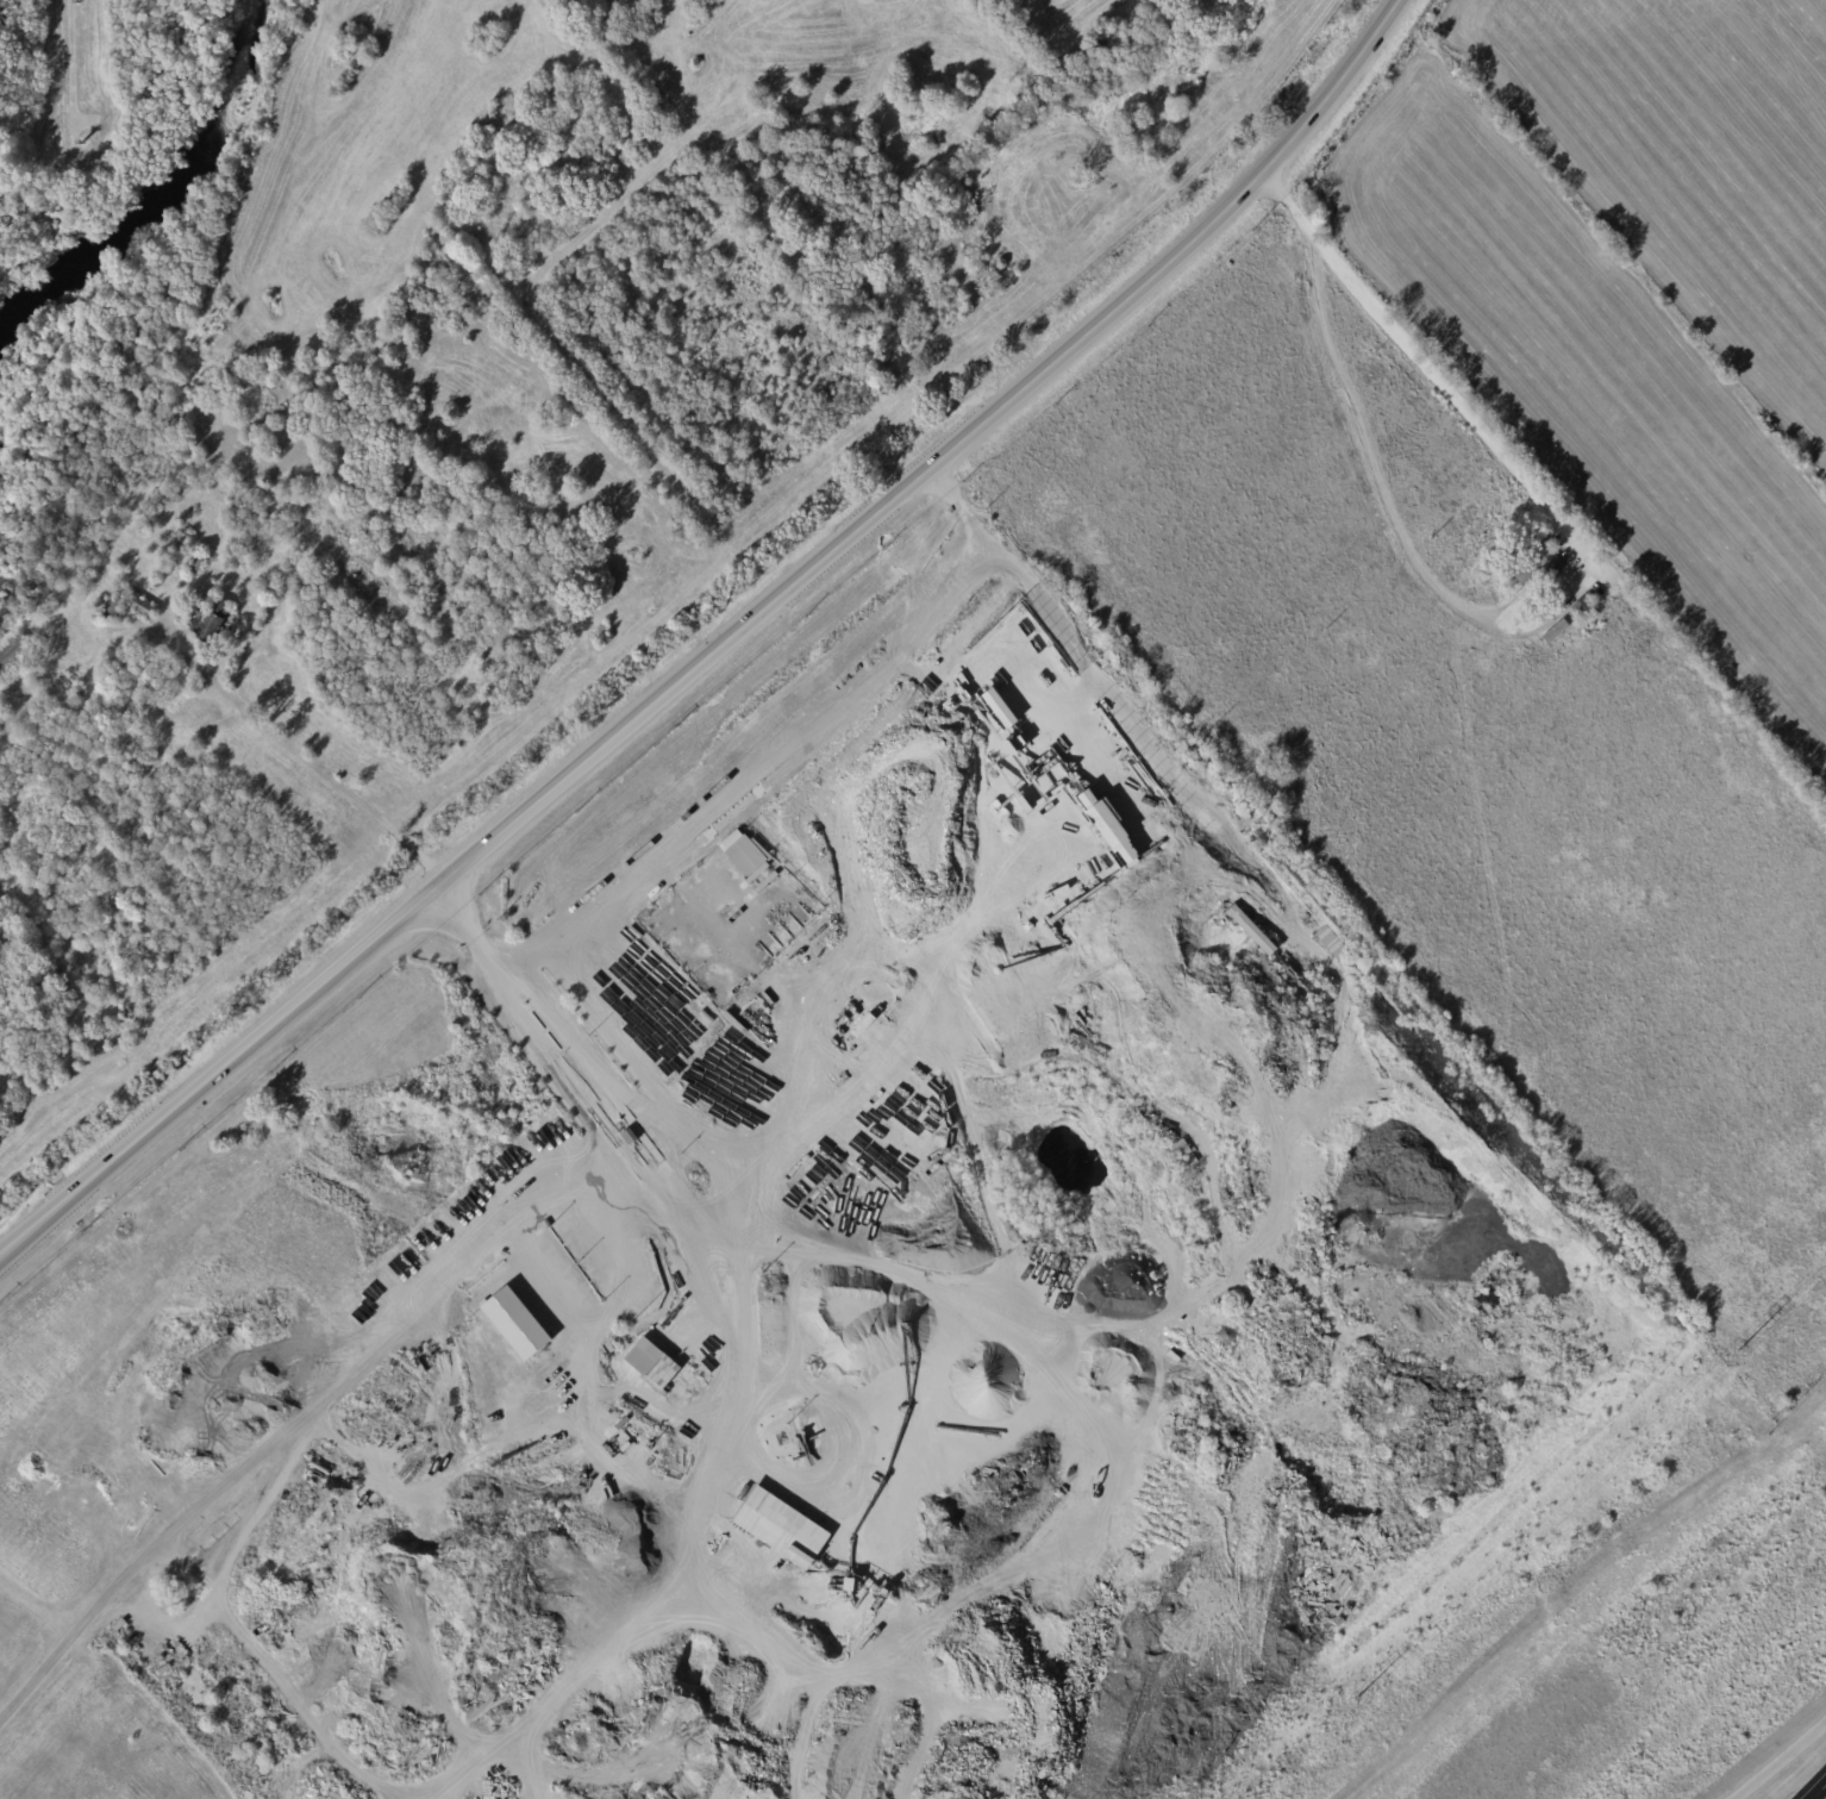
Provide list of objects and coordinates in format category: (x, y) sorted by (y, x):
river: (154, 200)
airport: (464, 402)
building: (182, 535)
building: (1578, 549)
building: (199, 564)
building: (1533, 567)
road: (1562, 594)
building: (145, 608)
building: (1582, 610)
building: (112, 612)
building: (210, 619)
road: (712, 636)
building: (14, 656)
building: (71, 688)
building: (1075, 699)
building: (998, 707)
road: (796, 738)
road: (298, 754)
building: (1269, 785)
building: (1108, 829)
building: (744, 854)
road: (557, 1073)
building: (1181, 1151)
building: (327, 1162)
road: (673, 1163)
road: (709, 1248)
building: (514, 1323)
power tower: (1740, 1344)
building: (659, 1373)
road: (720, 1420)
road: (294, 1423)
building: (776, 1528)
power tower: (1357, 1693)
road: (1772, 1755)
road: (1809, 1782)

